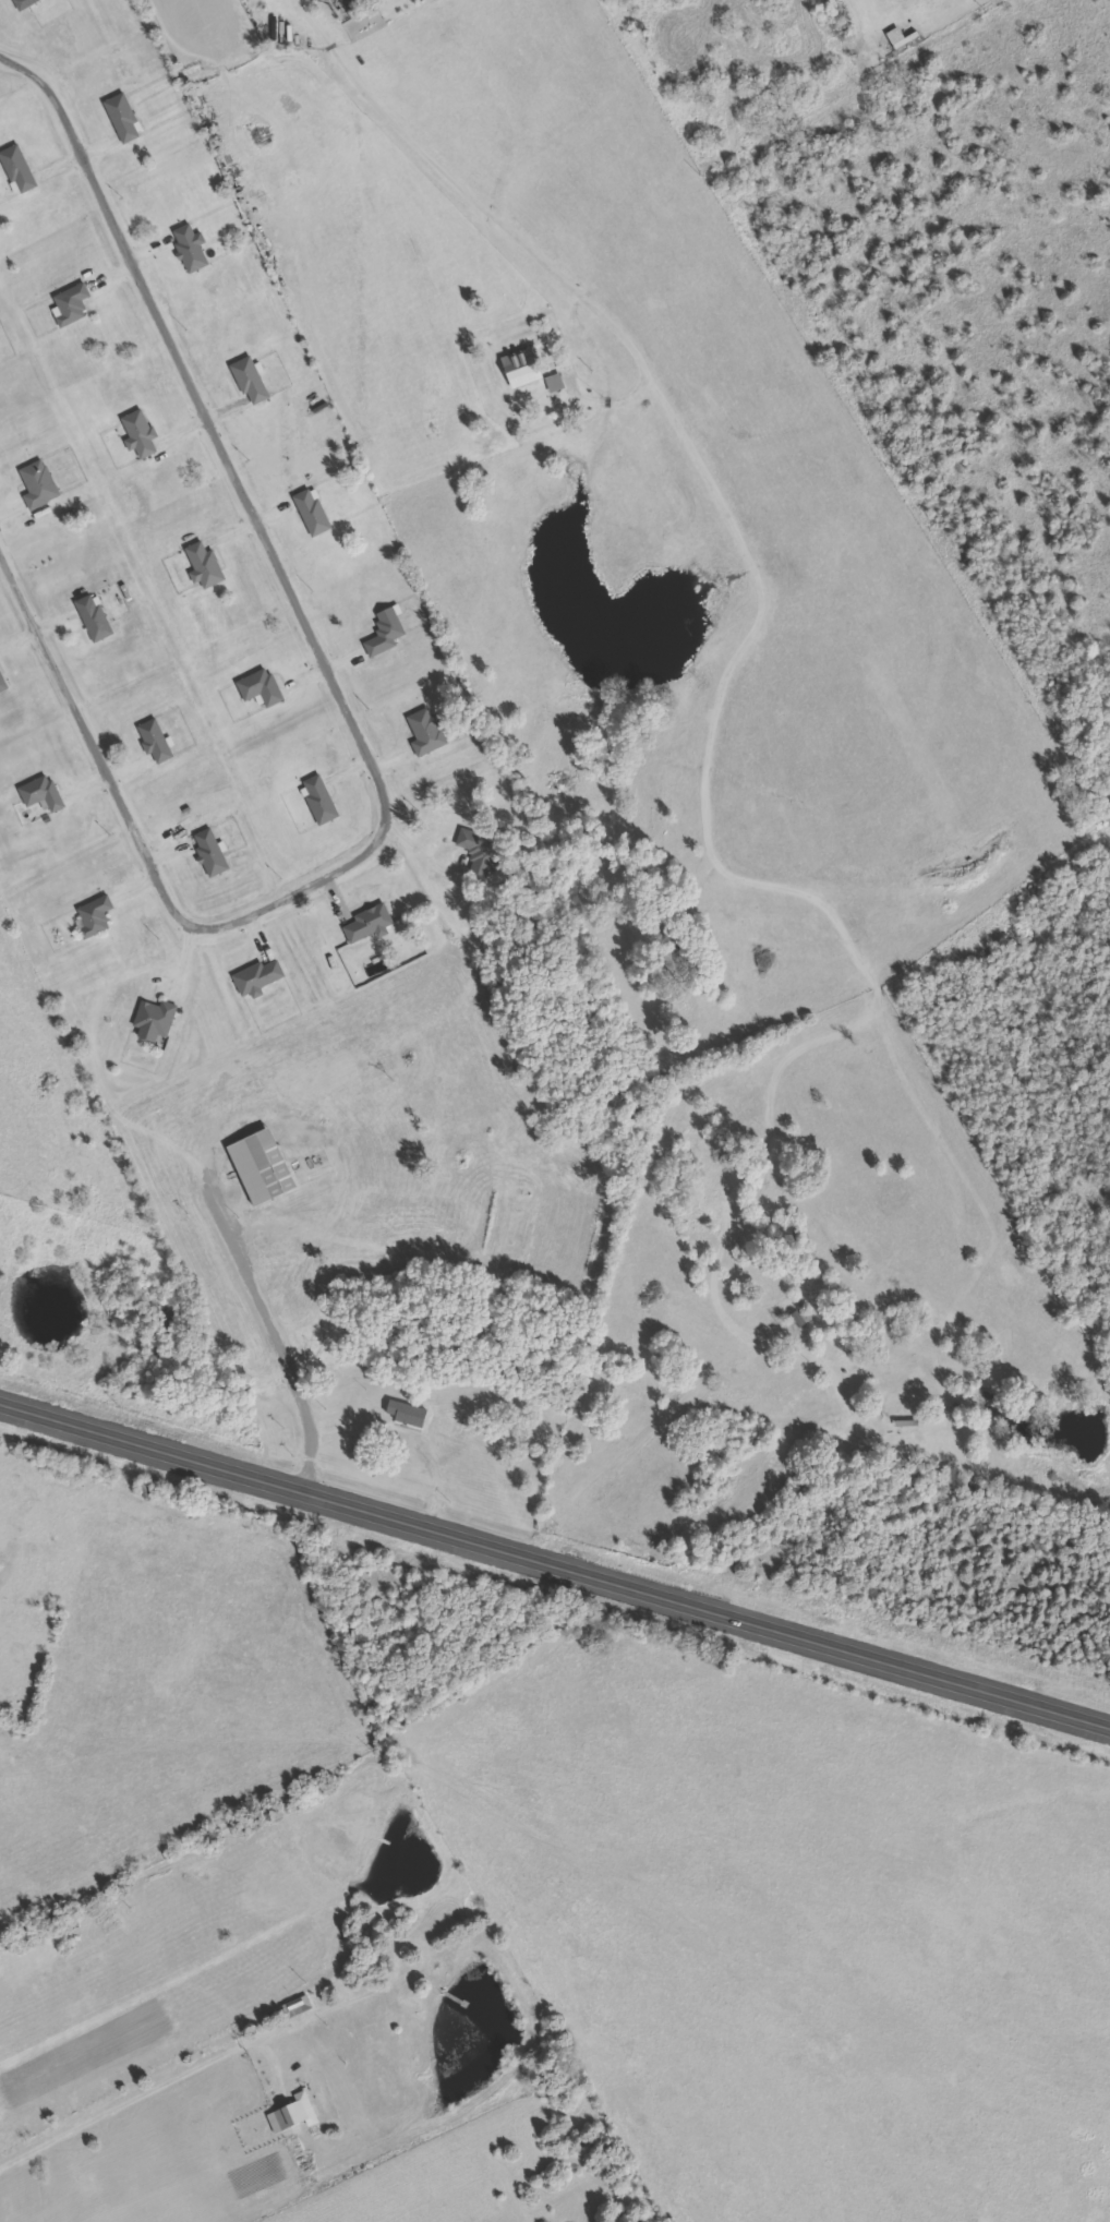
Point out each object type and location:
building: (25, 3)
building: (124, 118)
building: (20, 169)
building: (191, 248)
building: (73, 305)
building: (0, 364)
building: (524, 368)
building: (252, 382)
building: (556, 384)
building: (141, 433)
building: (40, 485)
building: (313, 513)
building: (206, 566)
building: (95, 618)
building: (386, 633)
building: (3, 683)
building: (262, 688)
road: (349, 721)
building: (427, 732)
building: (157, 742)
building: (44, 793)
building: (321, 800)
building: (480, 850)
building: (212, 852)
building: (96, 916)
building: (369, 924)
building: (258, 978)
building: (156, 1021)
building: (264, 1166)
building: (801, 1320)
road: (290, 1342)
building: (408, 1414)
building: (907, 1424)
road: (419, 1437)
road: (554, 1559)
building: (298, 2007)
building: (304, 2110)
building: (279, 2121)

